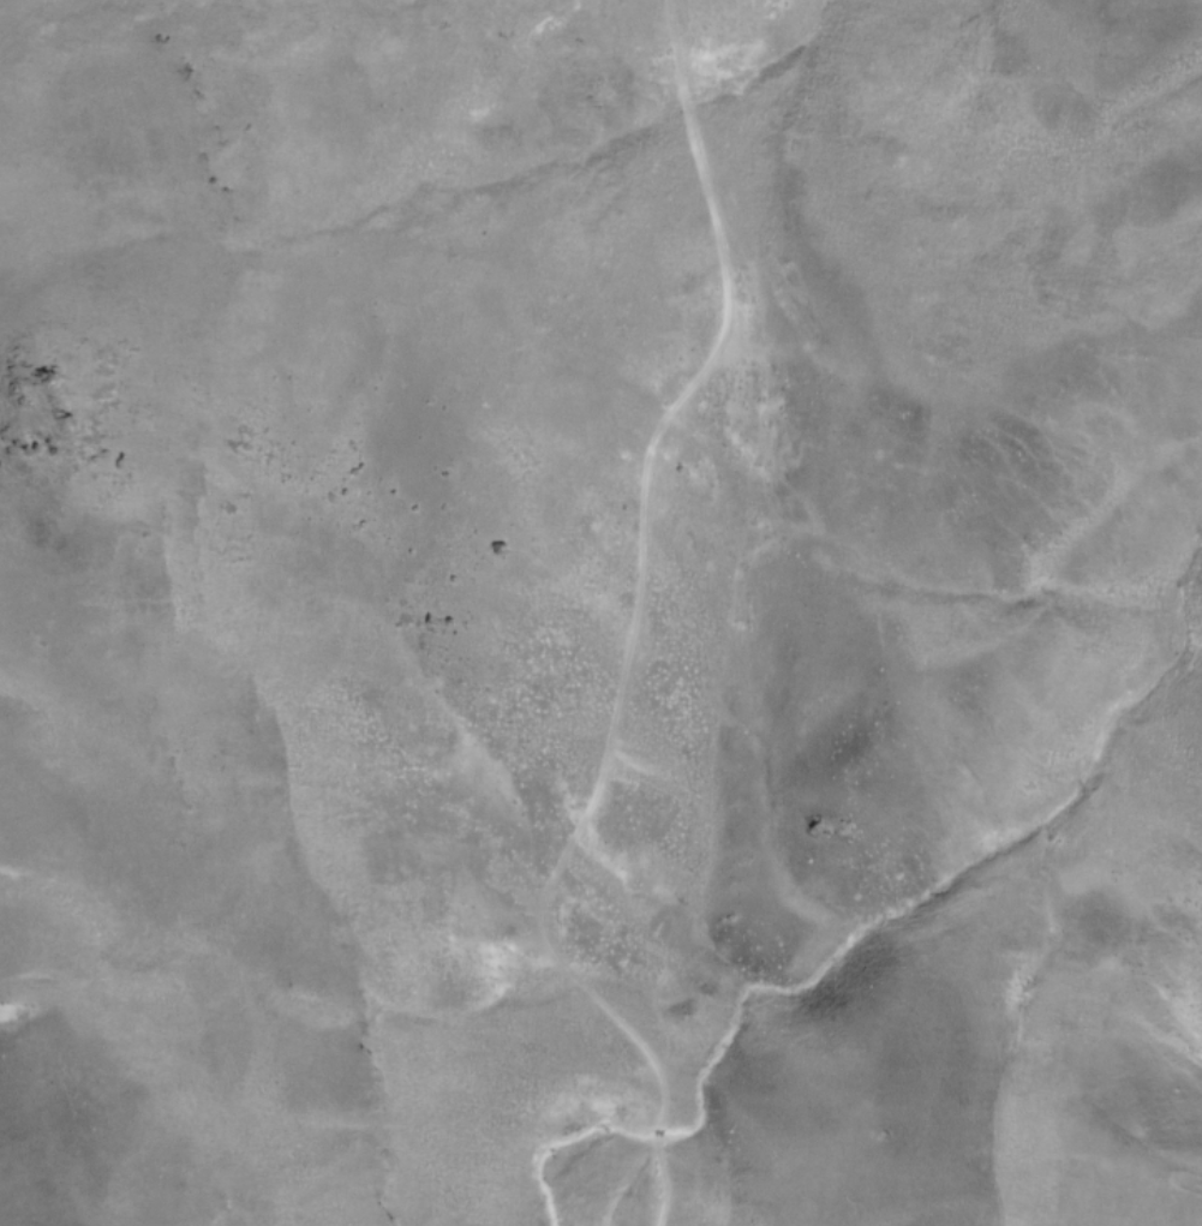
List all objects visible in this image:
road: (635, 628)
road: (627, 1177)

